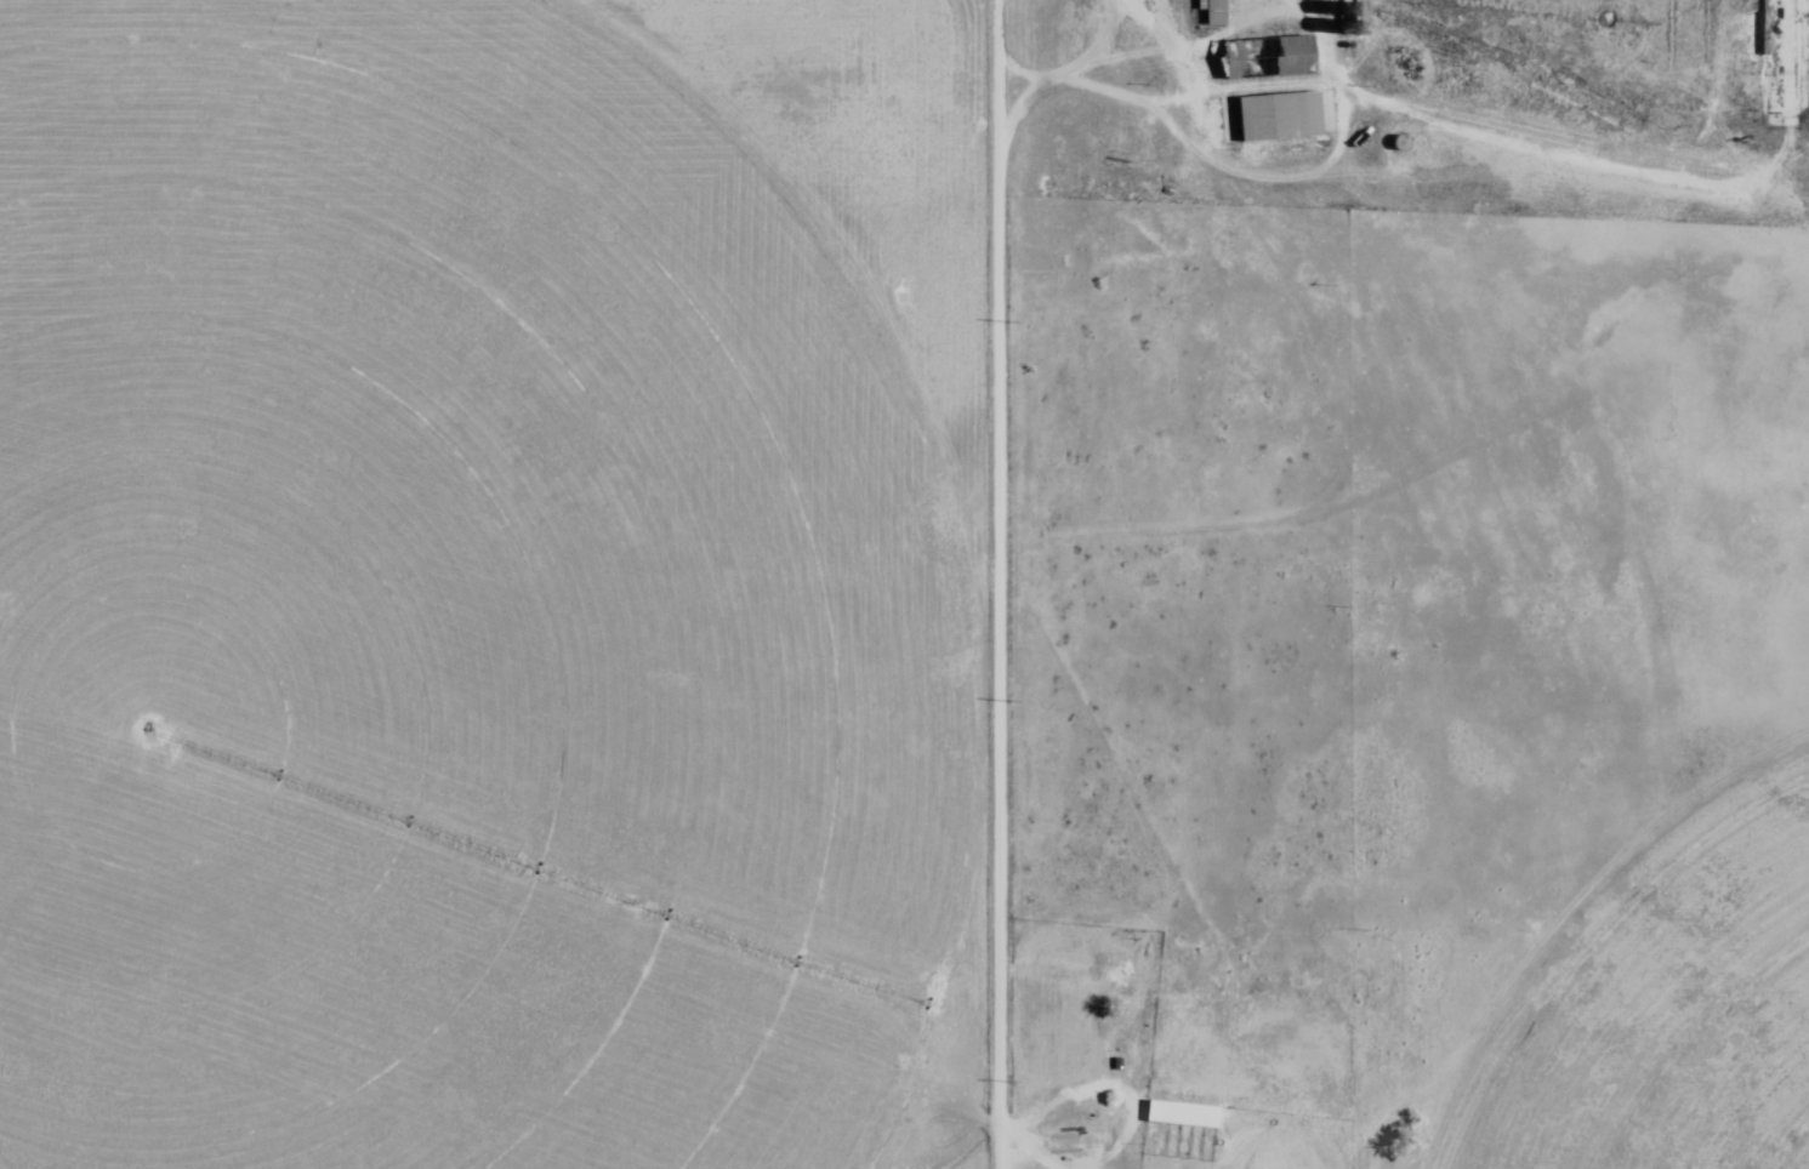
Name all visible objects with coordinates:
building: (1217, 12)
building: (1281, 116)
road: (1002, 583)
building: (1184, 1113)

